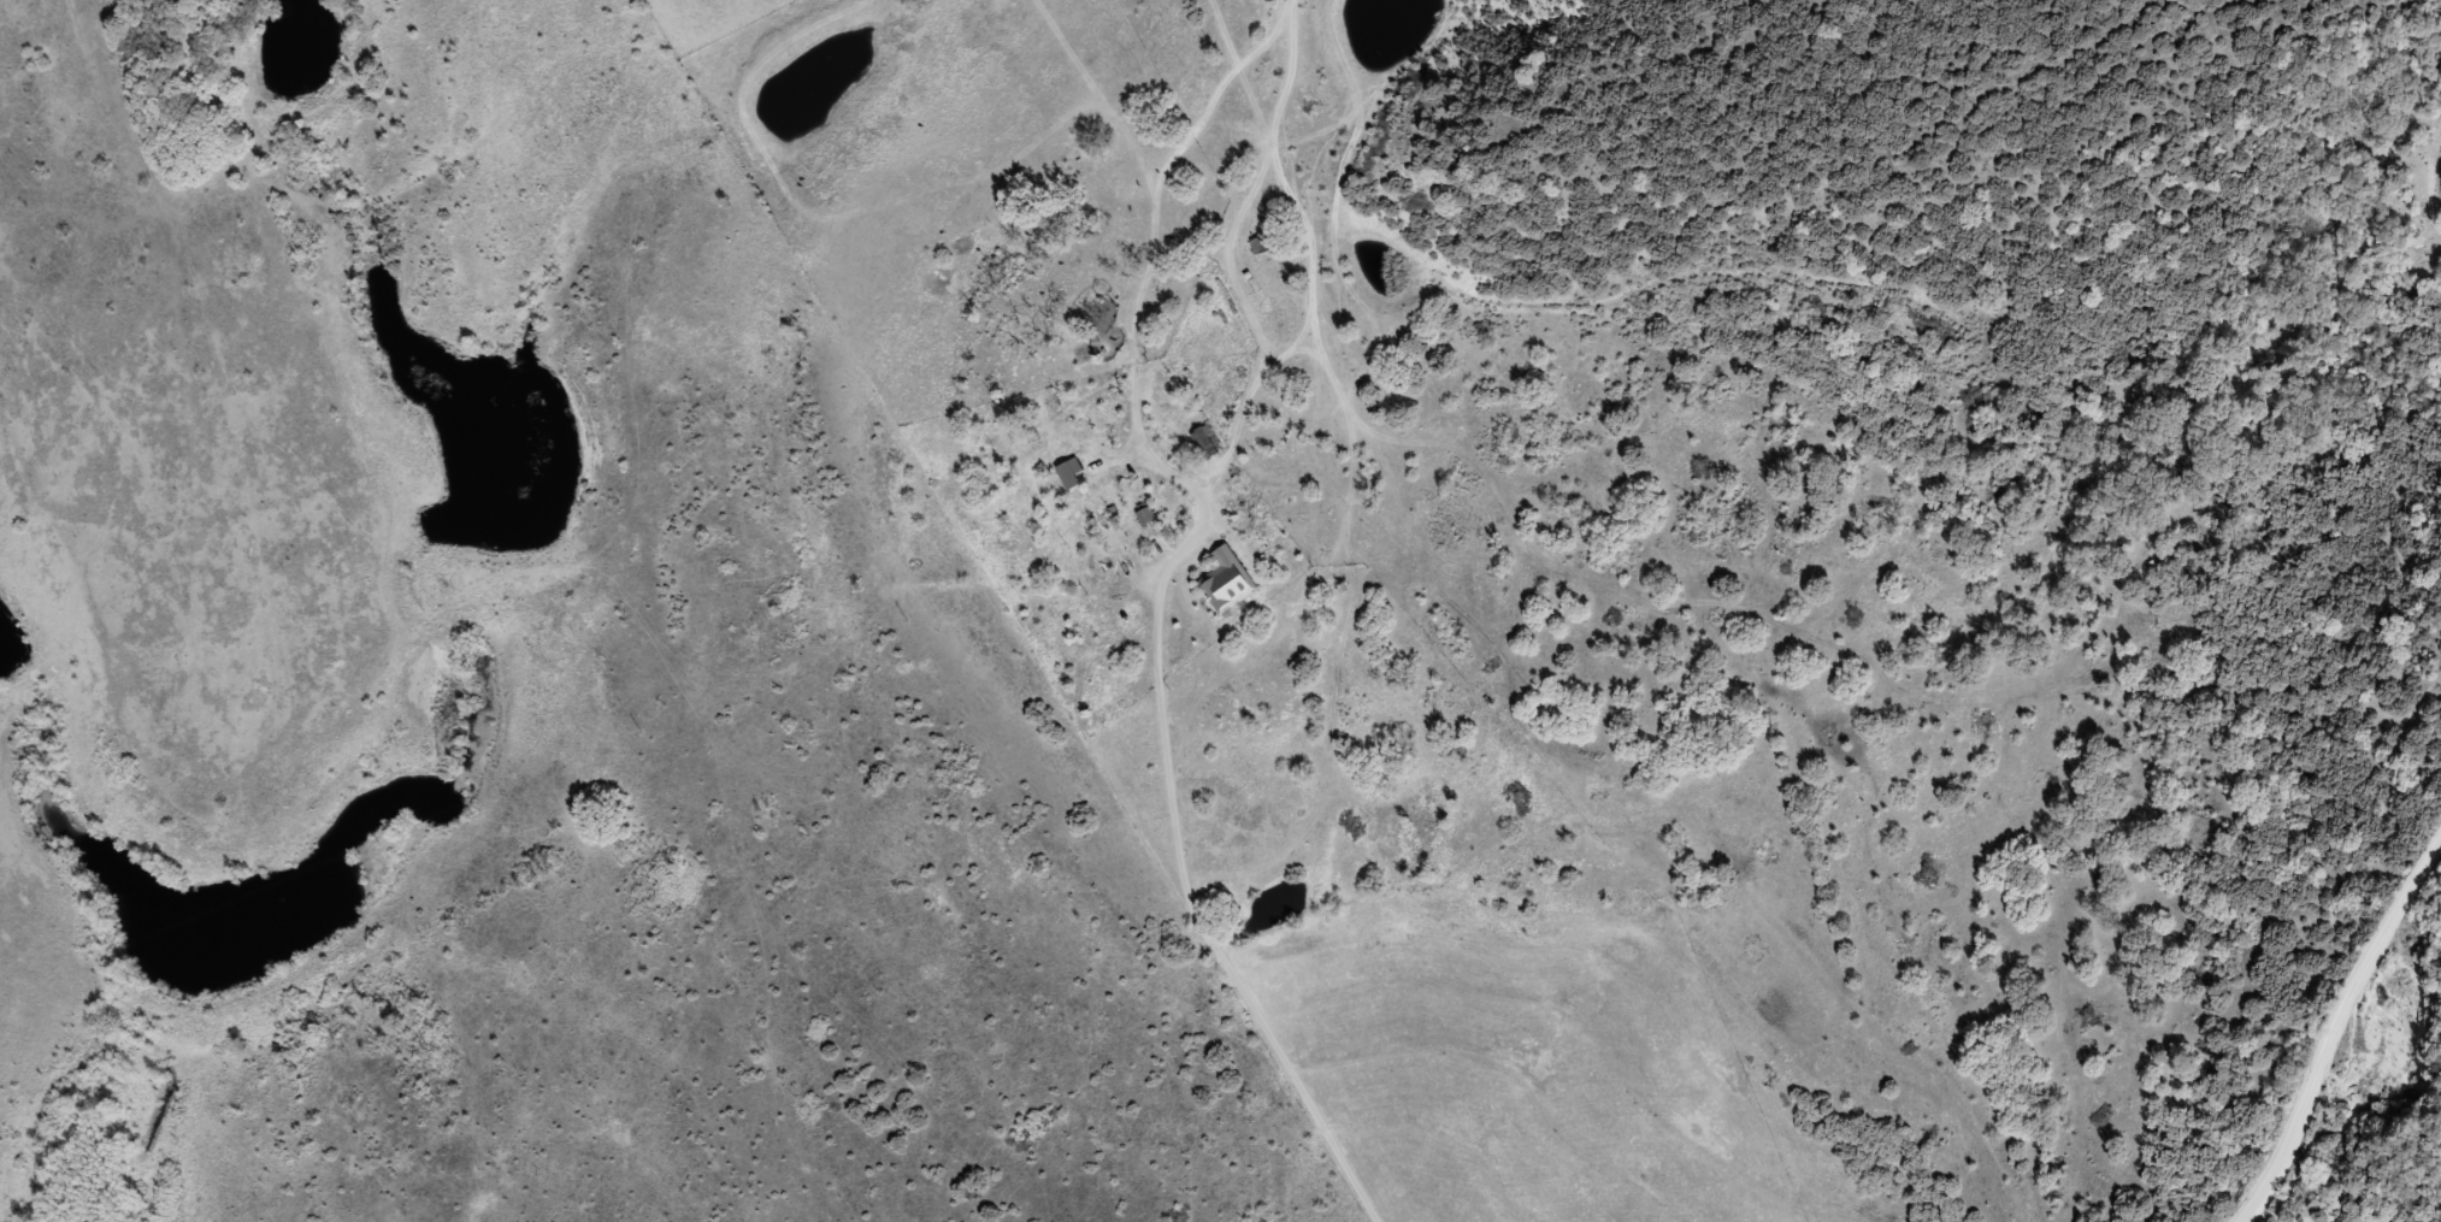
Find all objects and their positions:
building: (1260, 246)
building: (1205, 441)
building: (1071, 473)
building: (1227, 582)
road: (2336, 1025)

